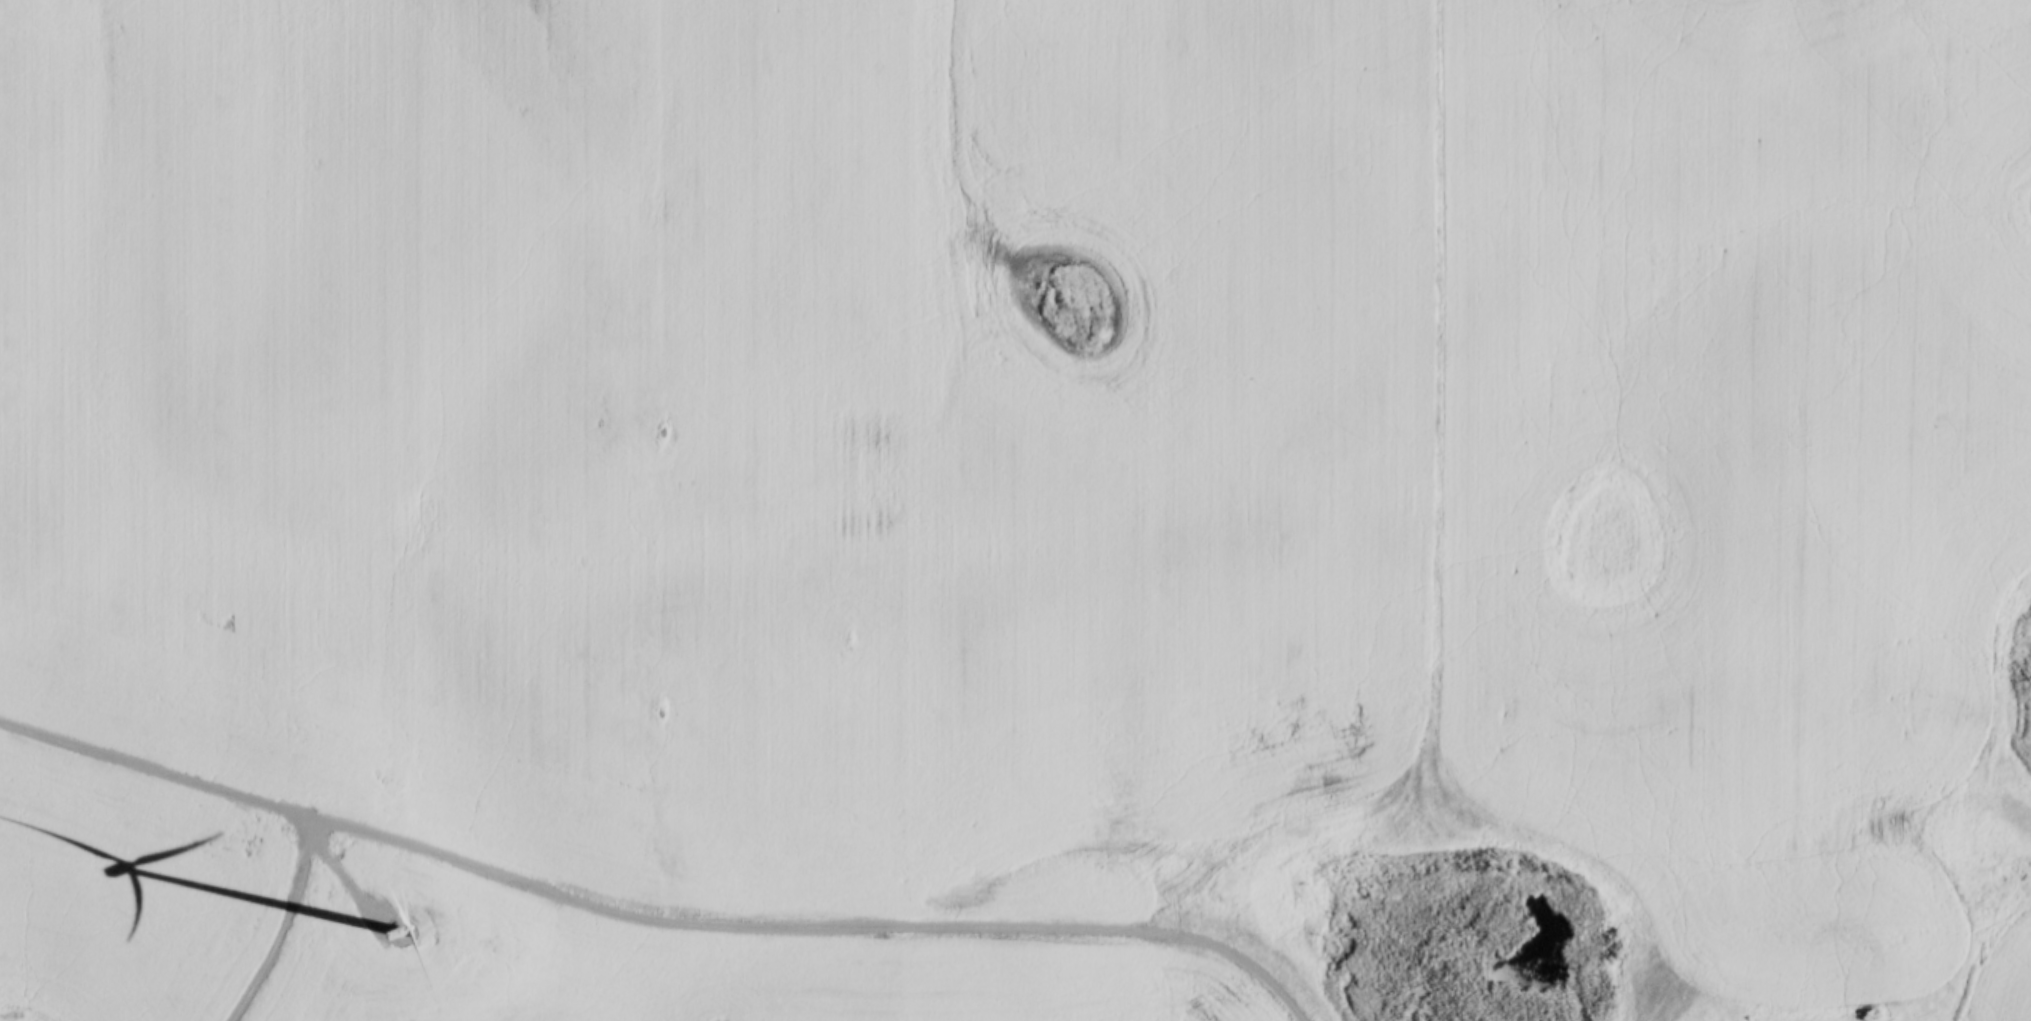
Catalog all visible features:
road: (647, 915)
road: (277, 918)
wind turbine: (398, 934)

